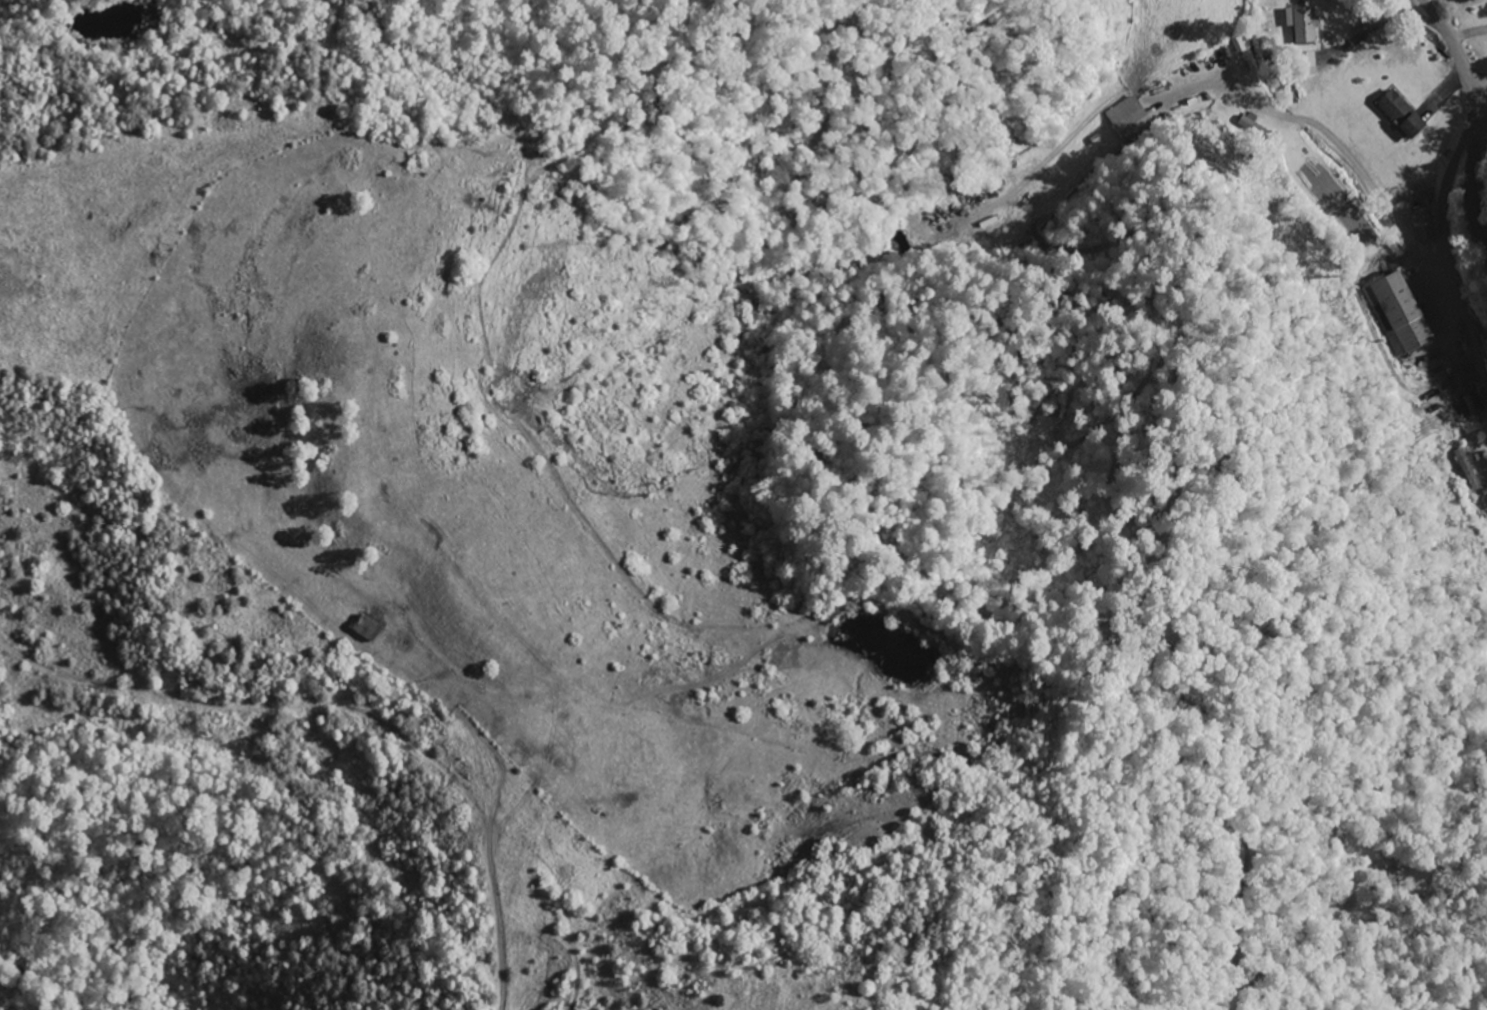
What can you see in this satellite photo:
building: (1306, 25)
building: (1240, 45)
road: (1479, 80)
road: (1476, 103)
building: (1128, 115)
building: (1405, 115)
building: (1426, 225)
road: (1446, 244)

